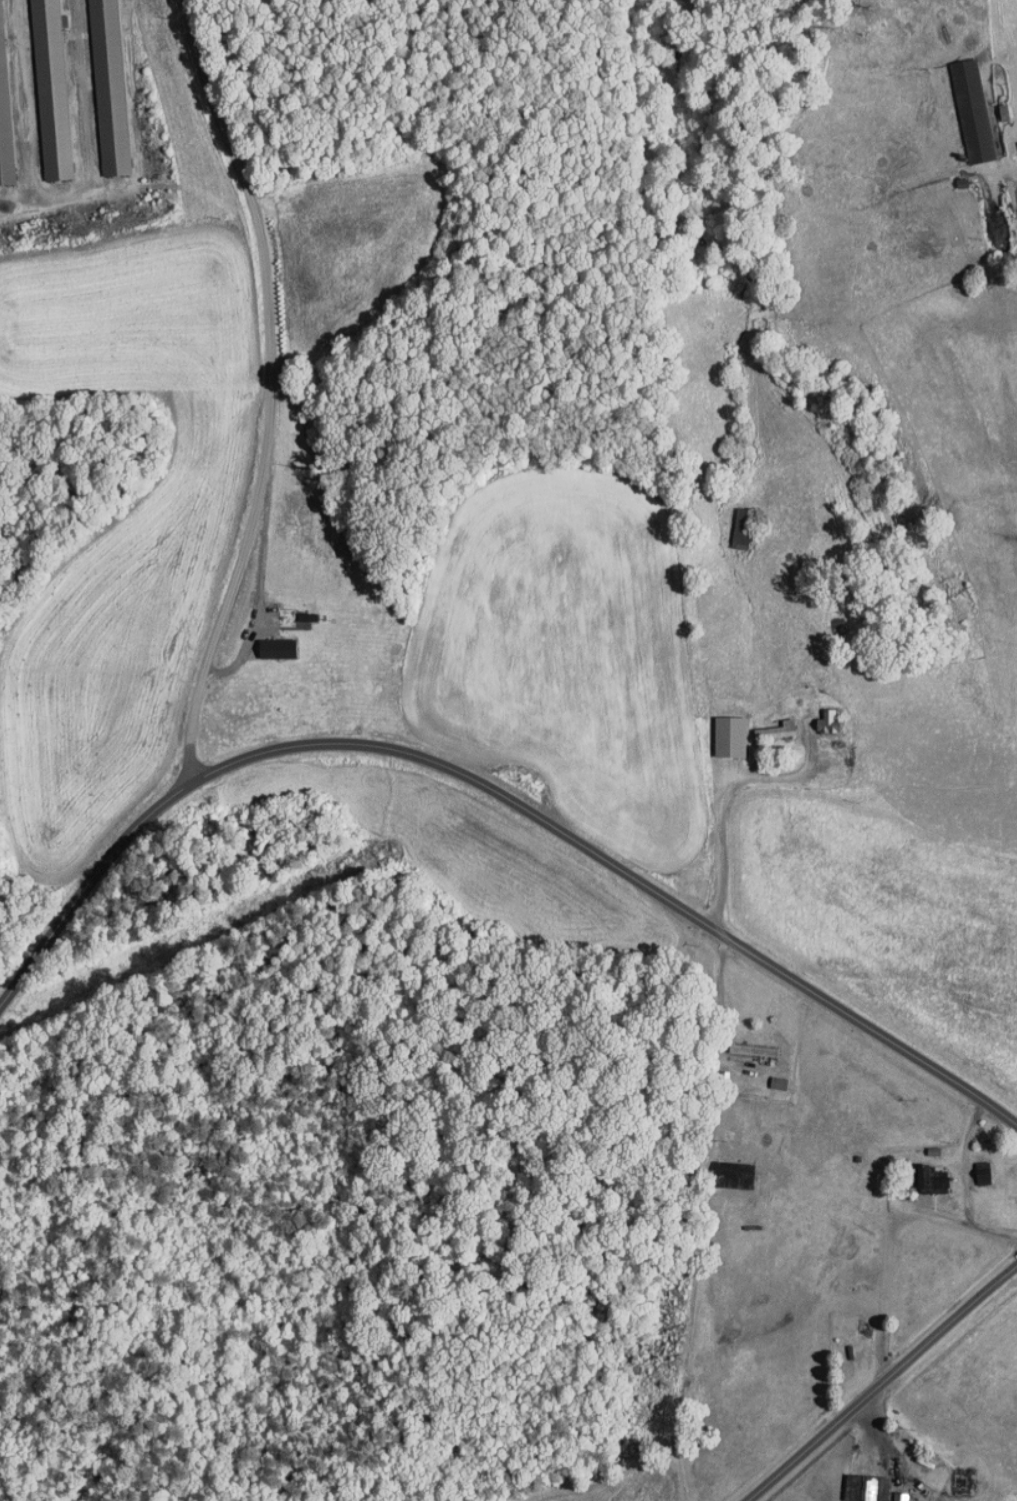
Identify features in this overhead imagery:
building: (96, 84)
building: (38, 86)
building: (960, 104)
road: (988, 163)
building: (0, 169)
road: (266, 388)
building: (263, 642)
building: (814, 714)
building: (763, 723)
building: (717, 729)
road: (713, 785)
road: (488, 790)
building: (741, 1044)
building: (970, 1166)
building: (918, 1173)
road: (952, 1181)
road: (876, 1370)
building: (948, 1474)
building: (862, 1483)

